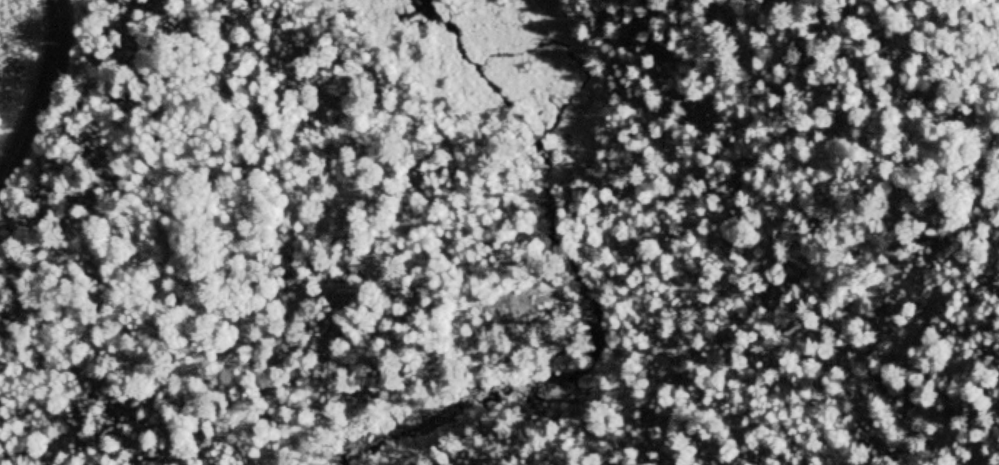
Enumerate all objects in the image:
road: (42, 90)

